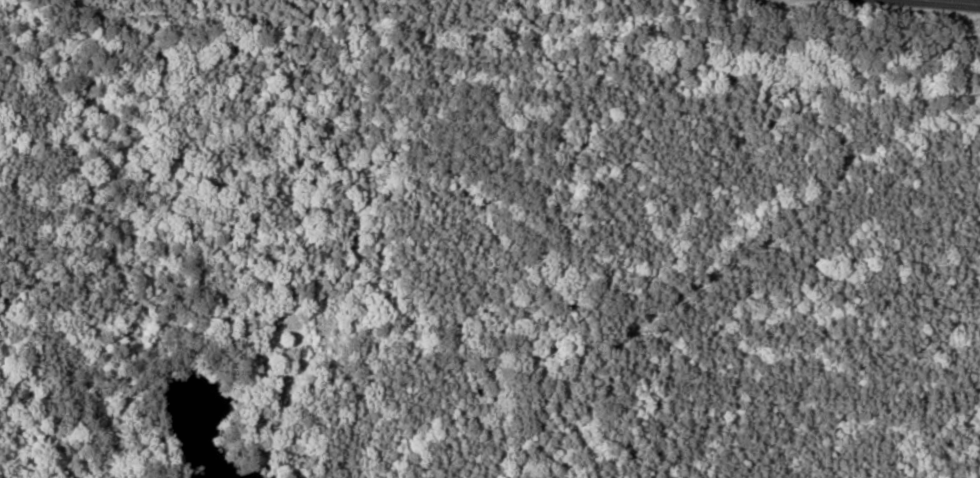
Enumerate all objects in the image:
road: (970, 0)

